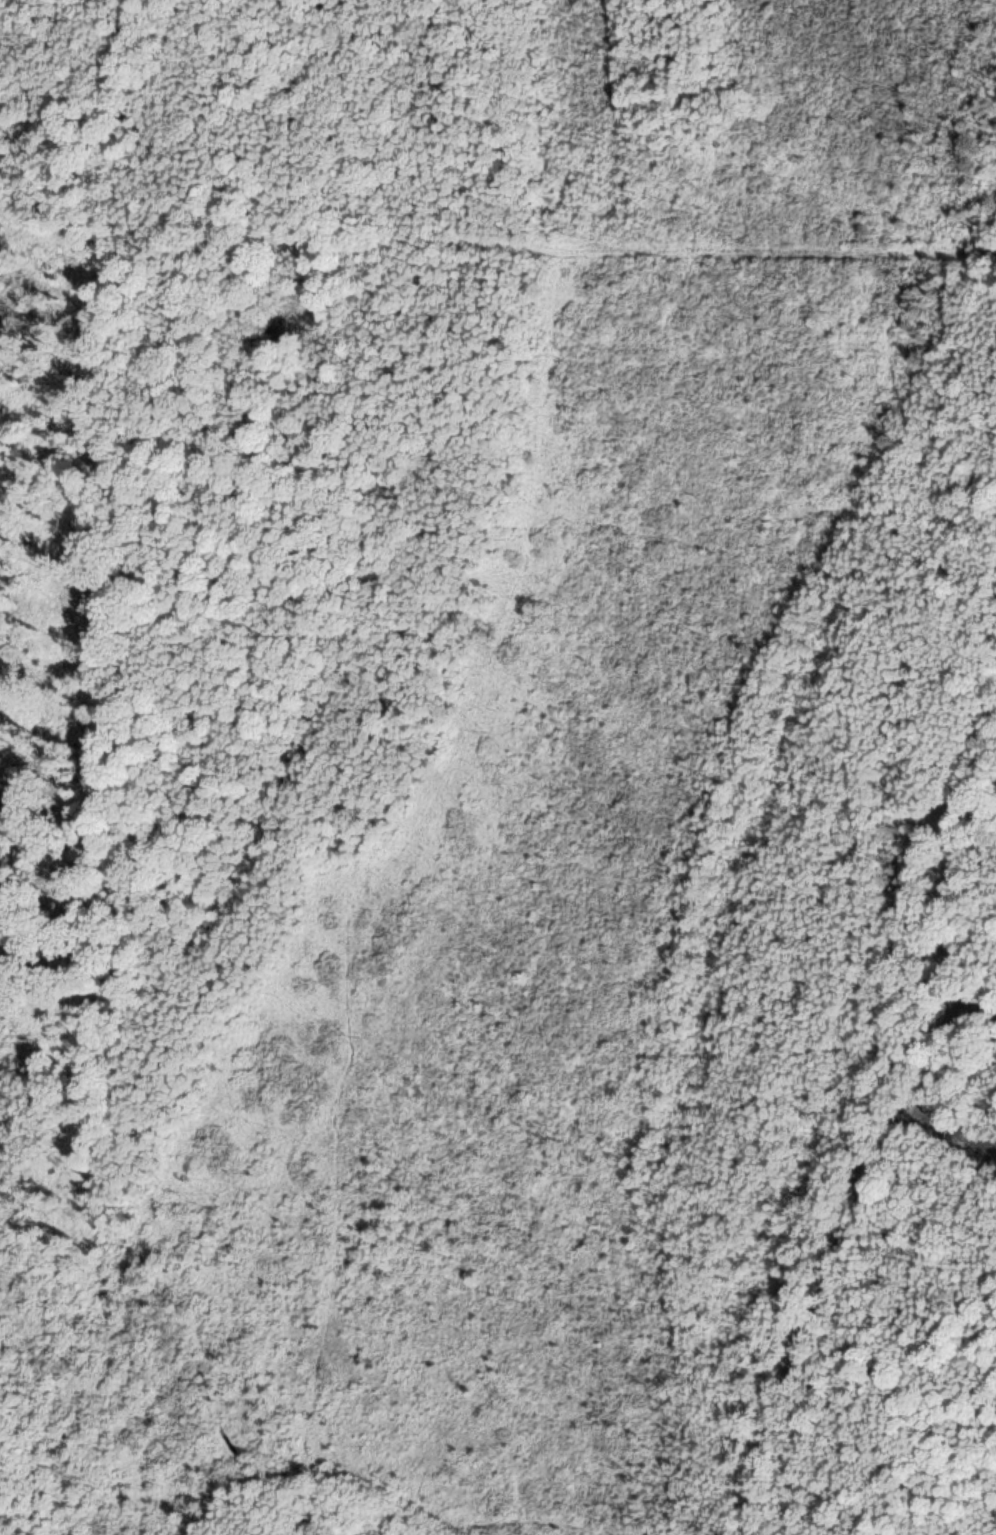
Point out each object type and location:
road: (834, 1253)

